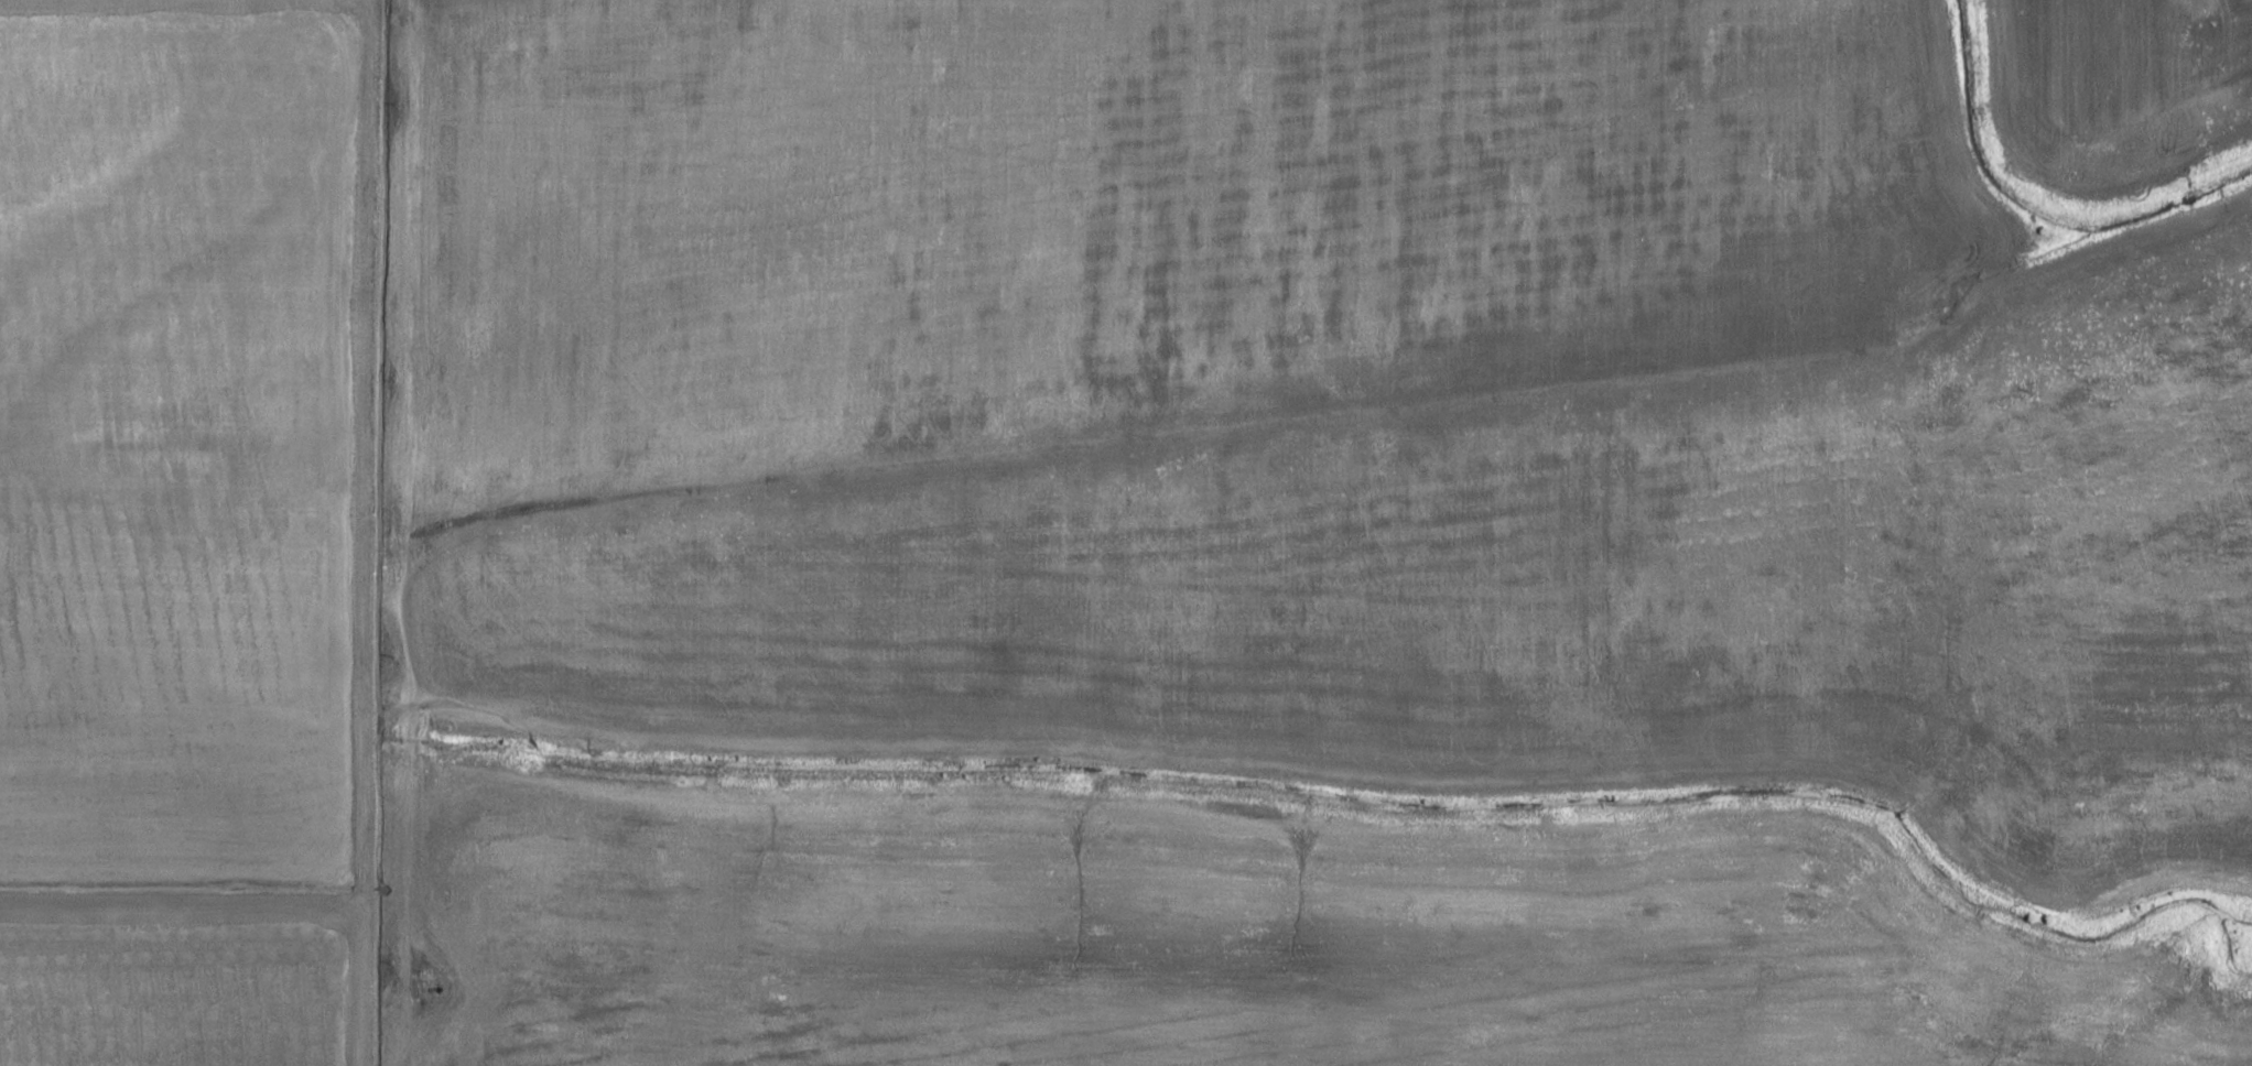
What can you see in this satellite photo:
road: (399, 532)

